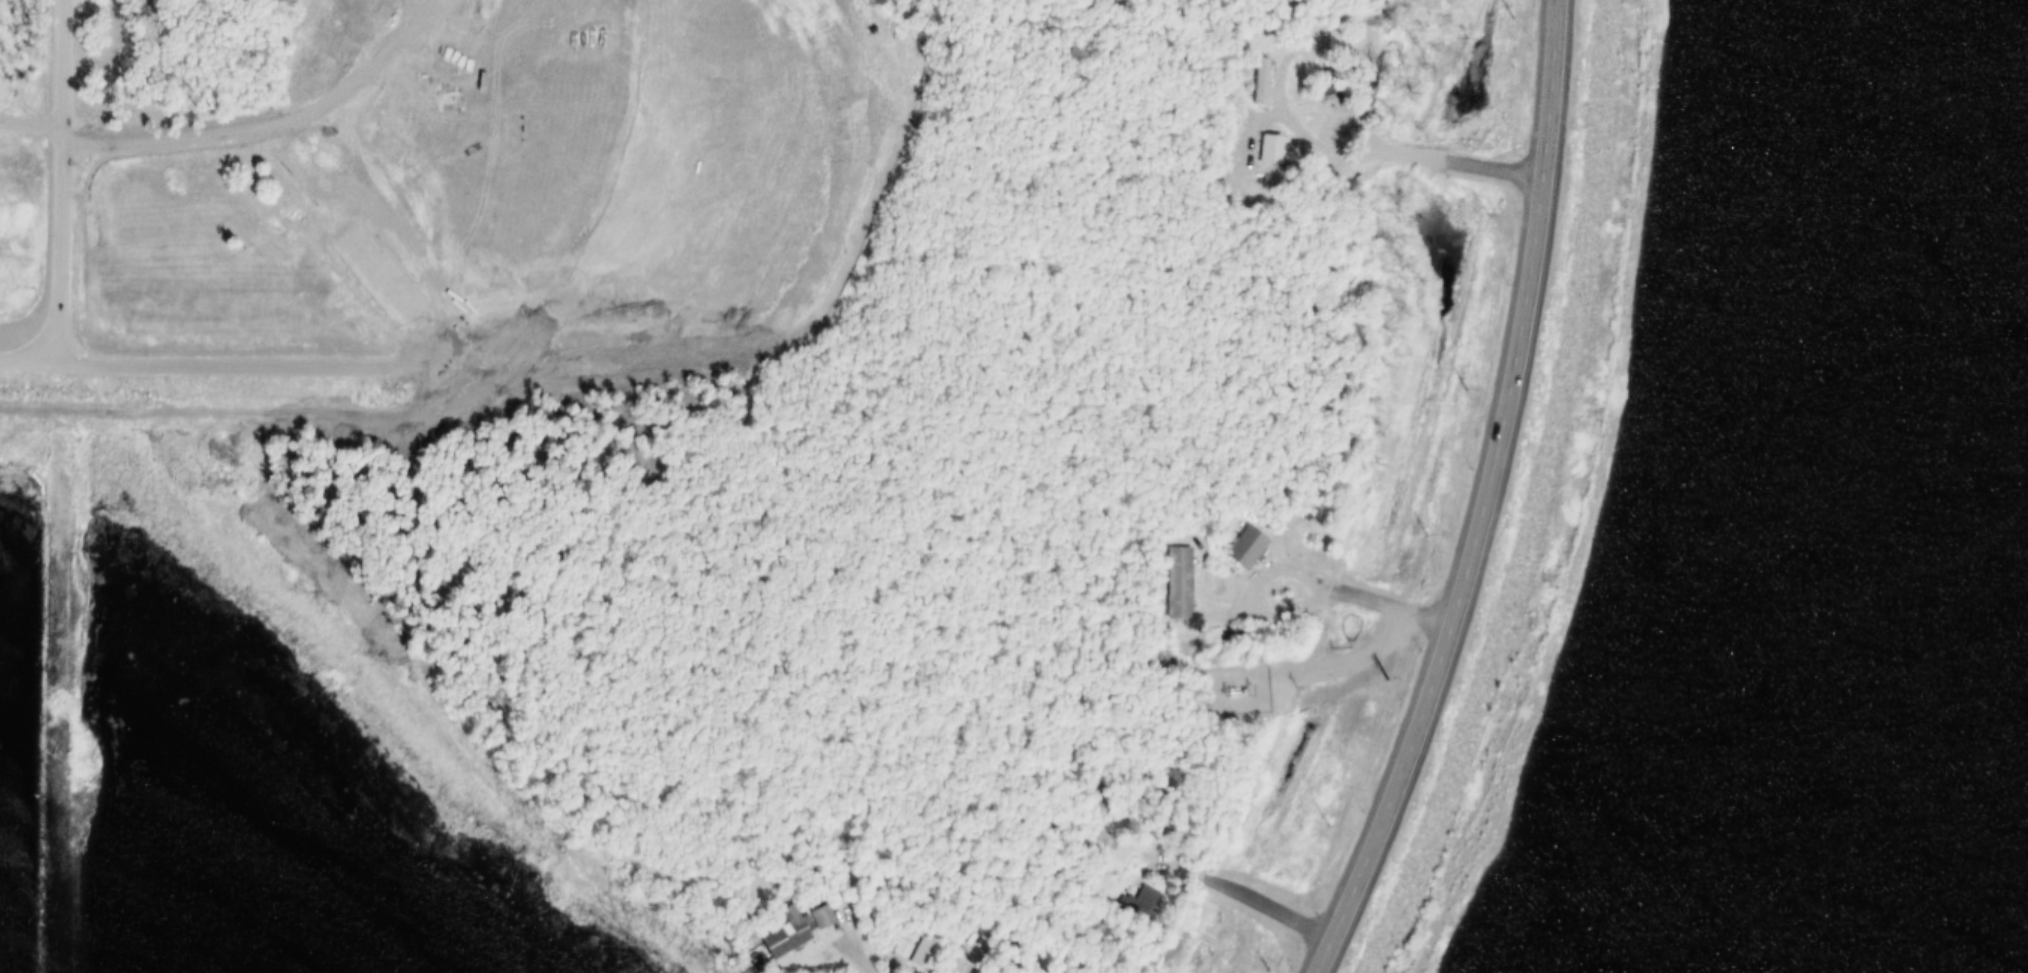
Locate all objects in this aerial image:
building: (1251, 78)
building: (1322, 126)
building: (1334, 129)
road: (35, 130)
road: (202, 144)
building: (1258, 146)
road: (1415, 158)
road: (63, 174)
road: (358, 246)
road: (32, 346)
road: (1442, 501)
building: (1234, 544)
building: (1248, 549)
road: (1294, 573)
building: (1166, 581)
building: (1181, 584)
road: (1210, 879)
building: (1126, 901)
building: (1145, 903)
building: (810, 914)
building: (824, 918)
building: (772, 931)
building: (787, 934)
road: (845, 939)
building: (905, 952)

